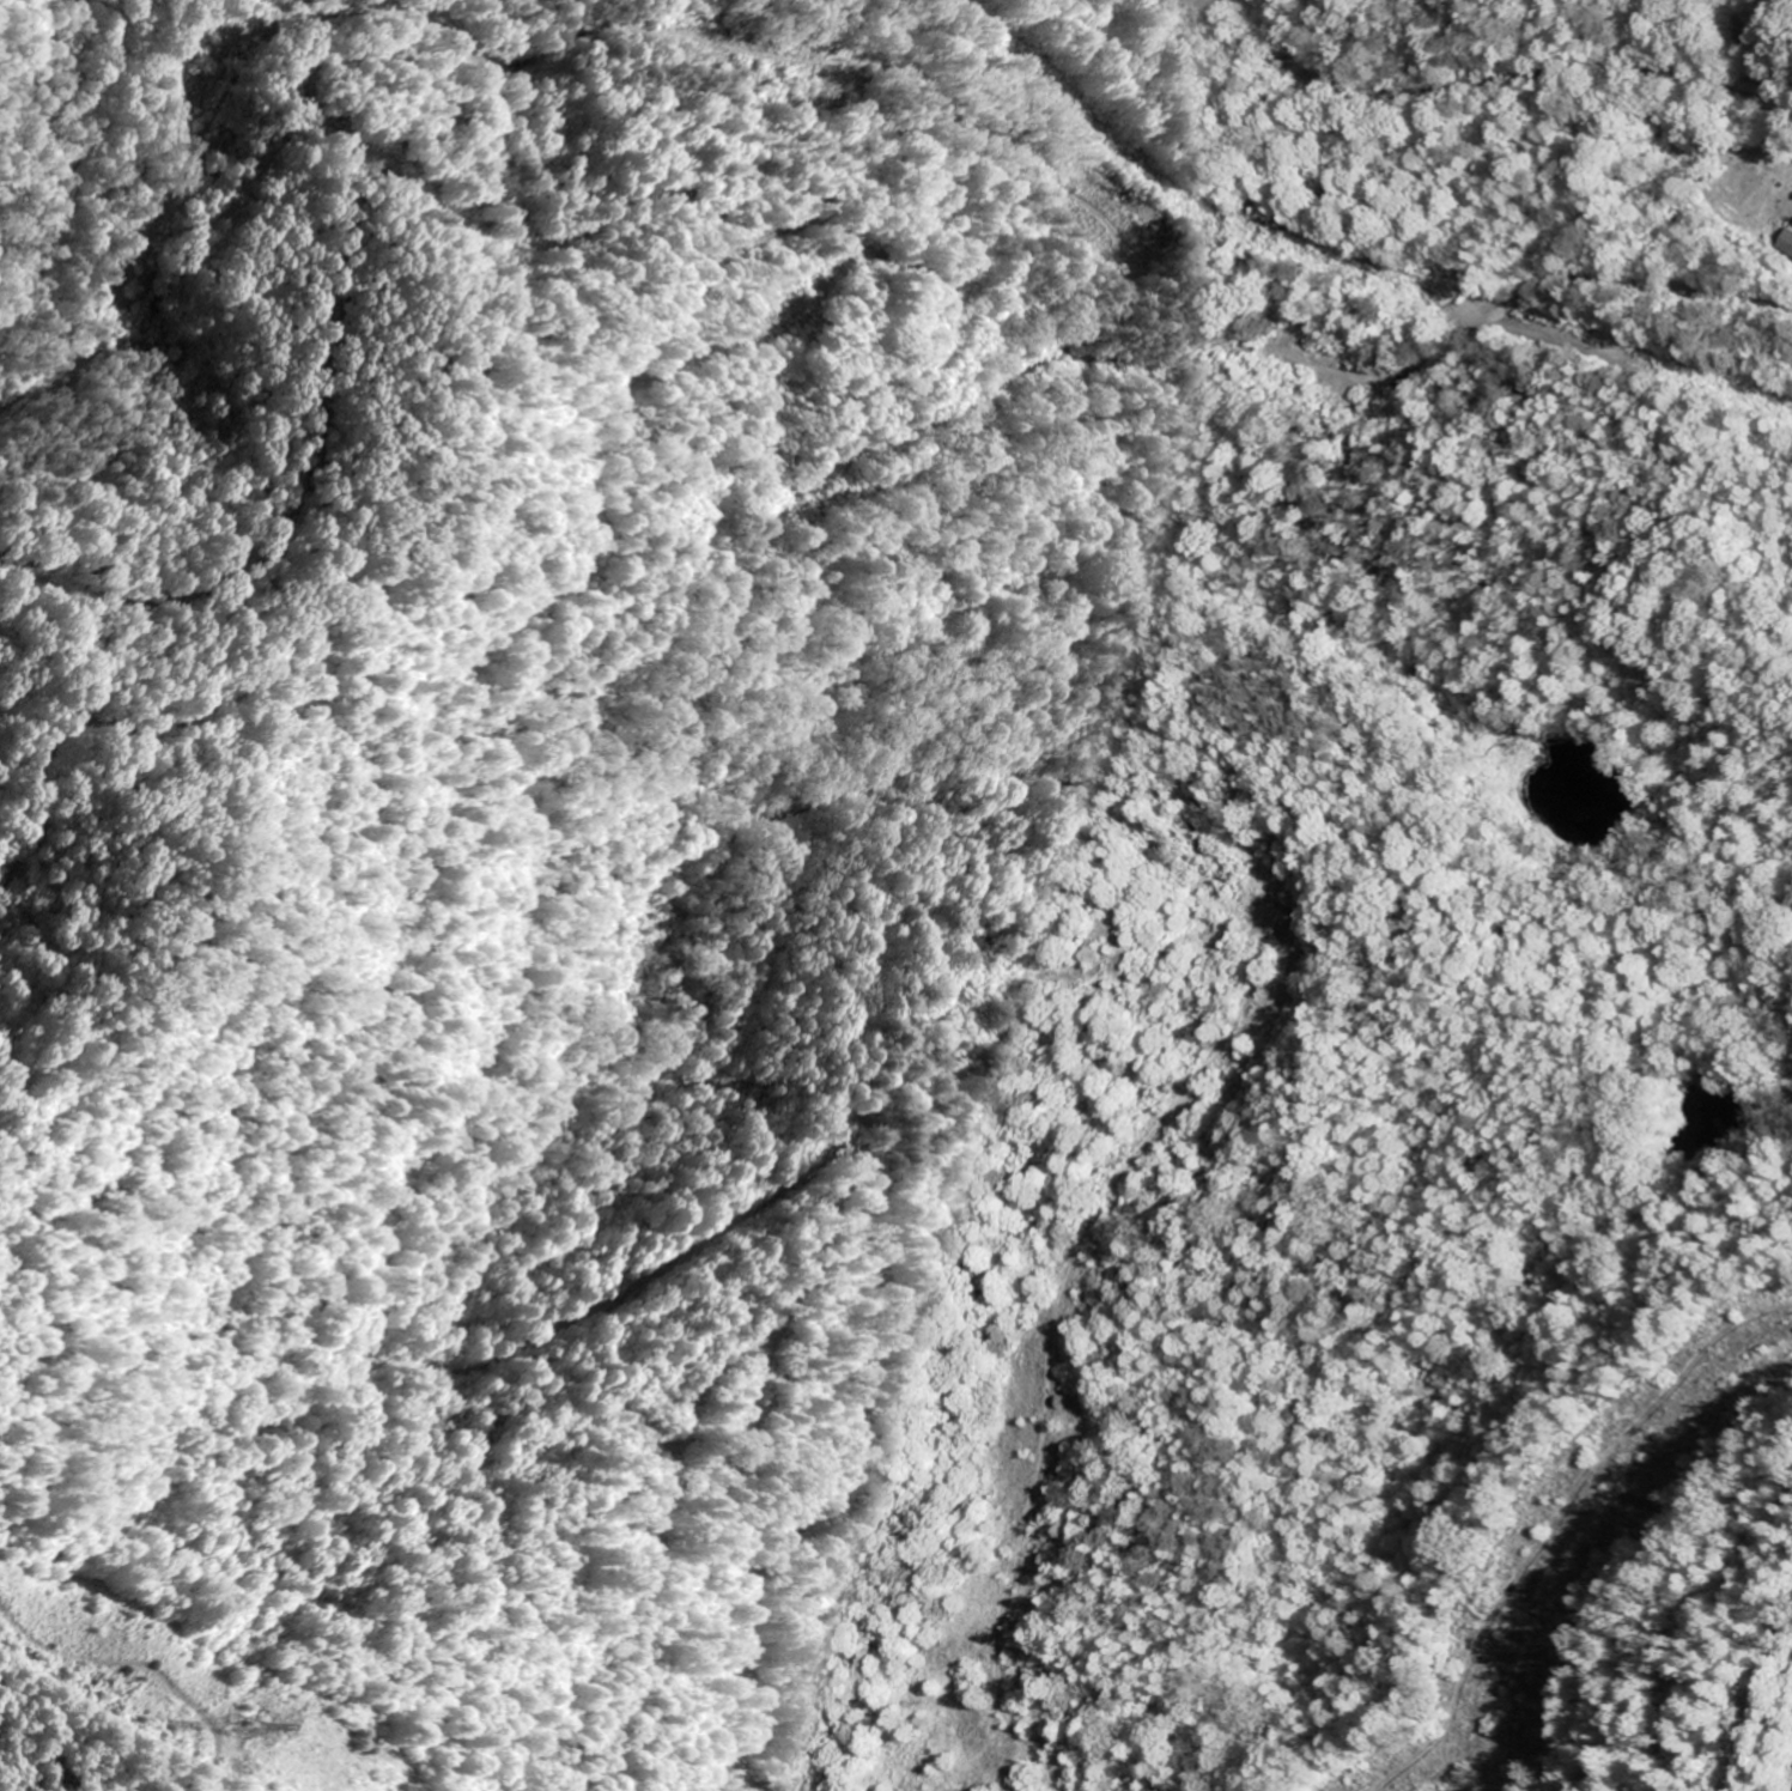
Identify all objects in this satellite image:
road: (1482, 80)
building: (1787, 242)
power tower: (254, 1730)

